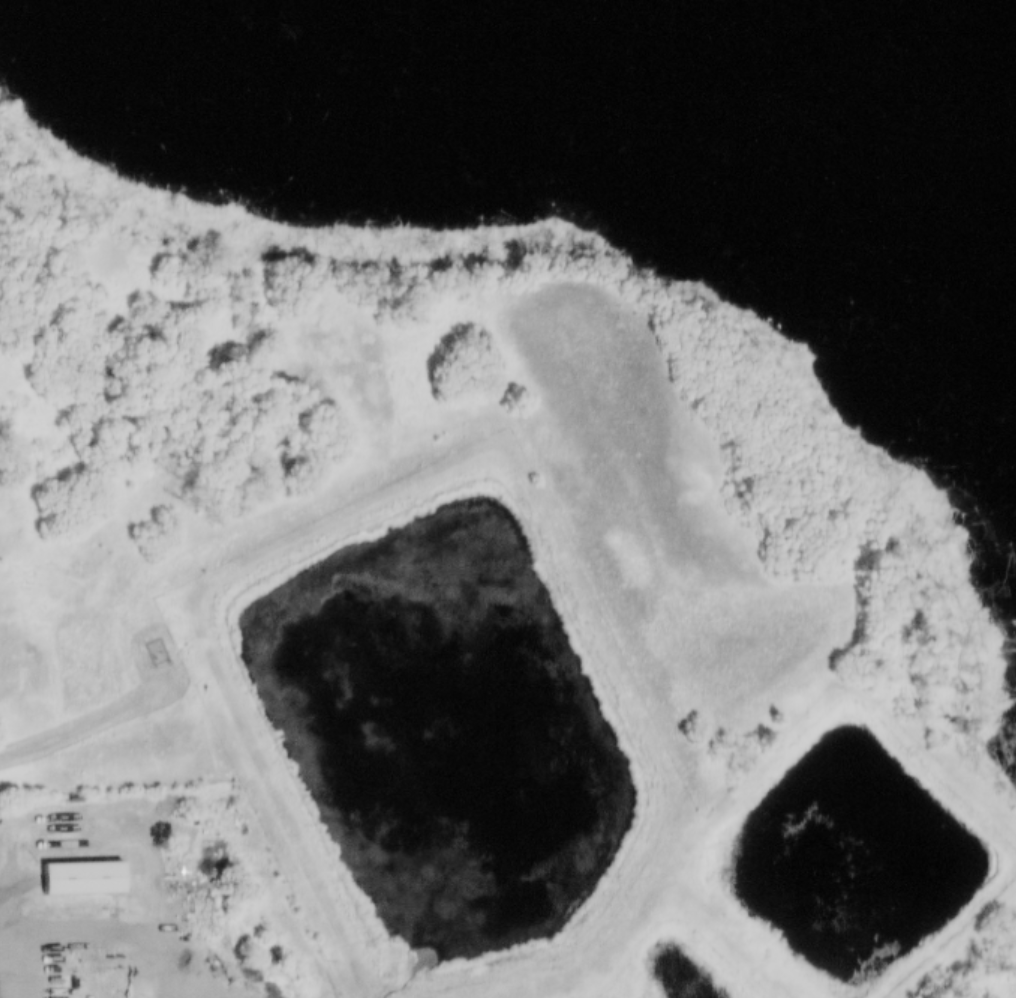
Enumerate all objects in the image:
road: (91, 722)
building: (73, 868)
road: (136, 925)

